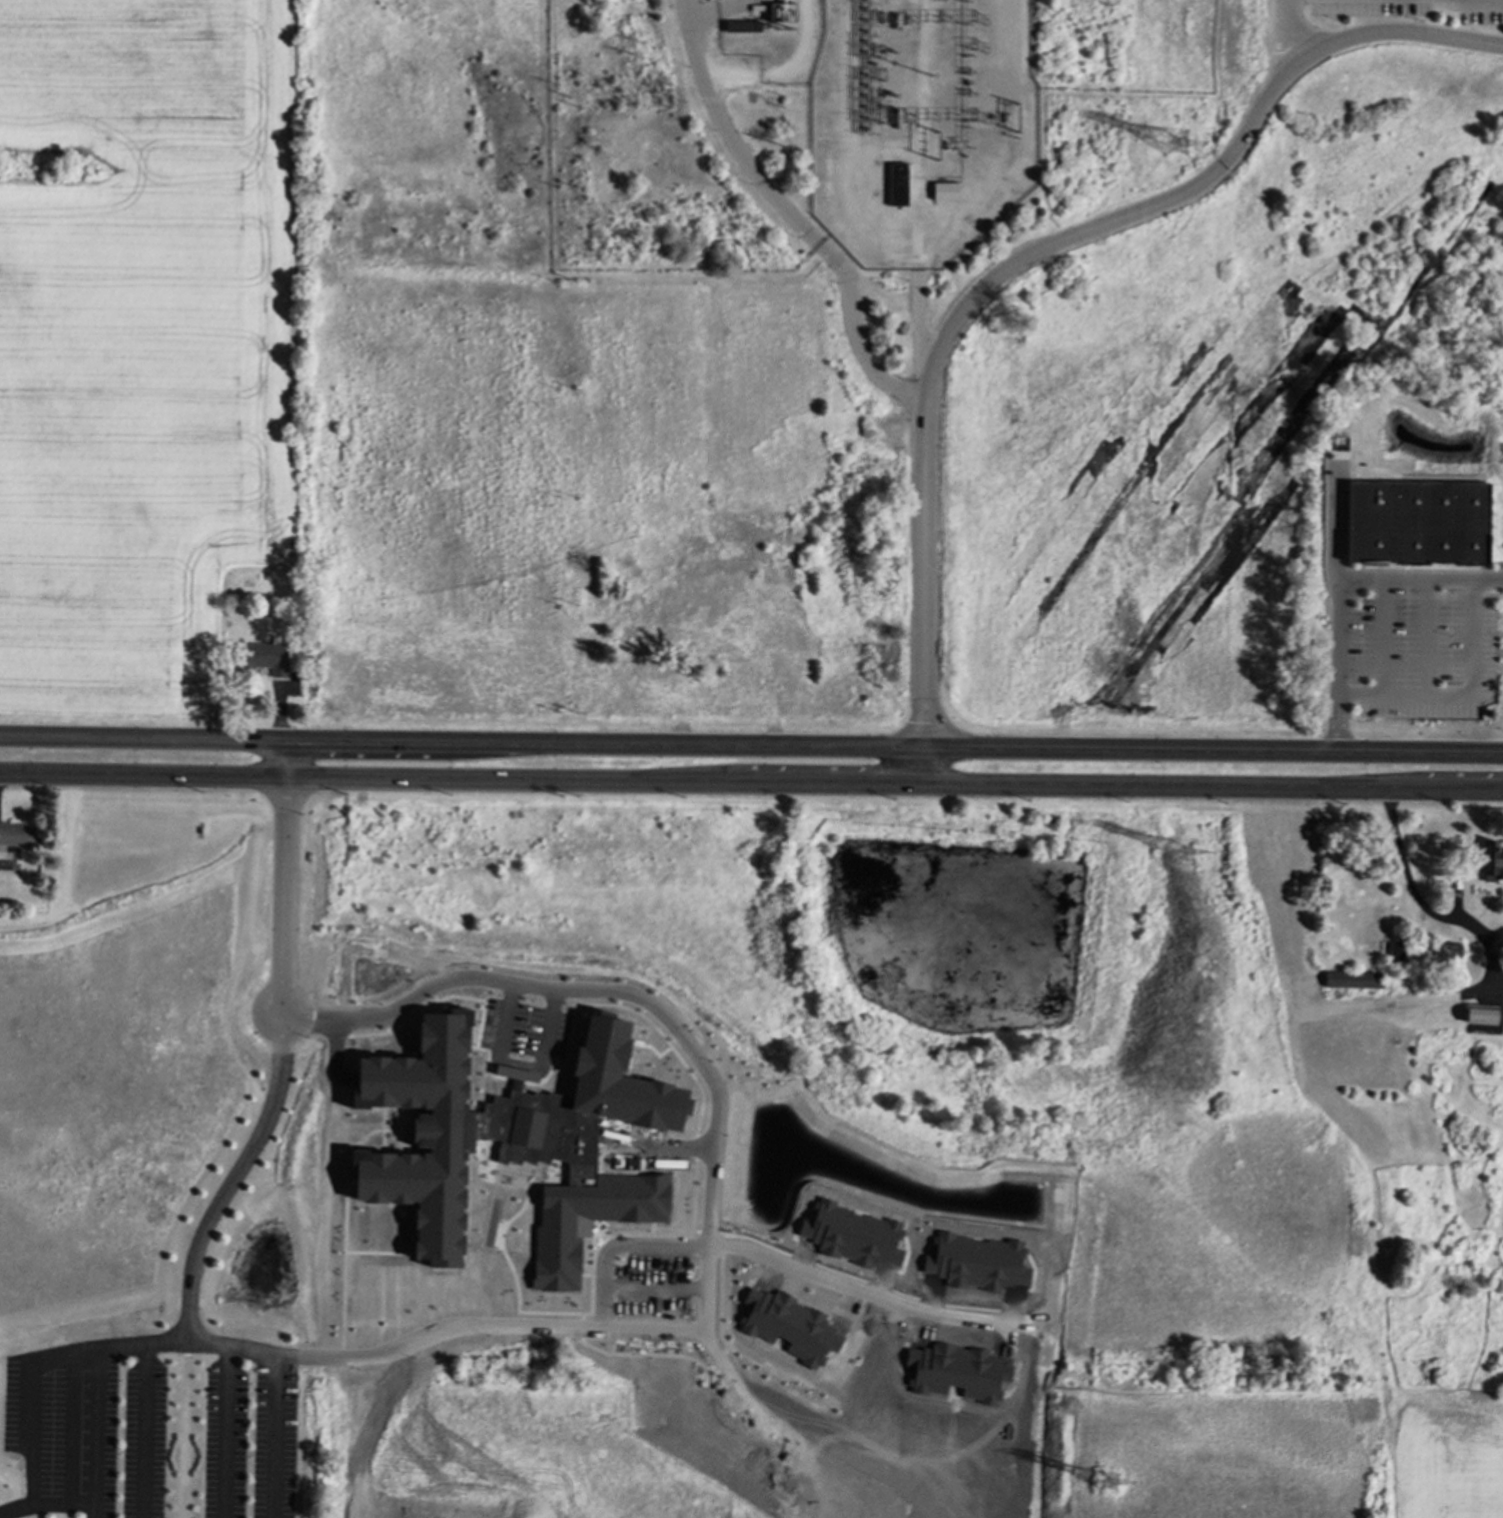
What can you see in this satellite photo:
road: (1475, 2)
road: (1389, 32)
road: (1284, 36)
power substation: (921, 125)
power tower: (1176, 145)
building: (897, 184)
building: (945, 191)
road: (792, 212)
road: (953, 323)
crop: (138, 343)
building: (1417, 522)
road: (1420, 579)
road: (1338, 614)
road: (1428, 637)
parking lot: (1422, 652)
building: (264, 657)
road: (1381, 658)
road: (1474, 684)
road: (461, 743)
road: (1213, 751)
road: (922, 764)
road: (751, 781)
building: (16, 833)
power tower: (1183, 852)
building: (1492, 861)
road: (279, 875)
road: (1421, 904)
building: (1448, 949)
building: (1400, 953)
building: (1352, 978)
road: (1502, 984)
road: (1405, 1000)
road: (506, 1003)
road: (550, 1010)
building: (1480, 1013)
road: (338, 1085)
road: (229, 1172)
road: (713, 1174)
building: (419, 1197)
road: (618, 1235)
road: (656, 1277)
road: (875, 1285)
road: (271, 1391)
road: (22, 1393)
road: (93, 1426)
road: (69, 1428)
road: (142, 1430)
road: (224, 1431)
crop: (1450, 1454)
power tower: (1108, 1484)
road: (13, 1508)

